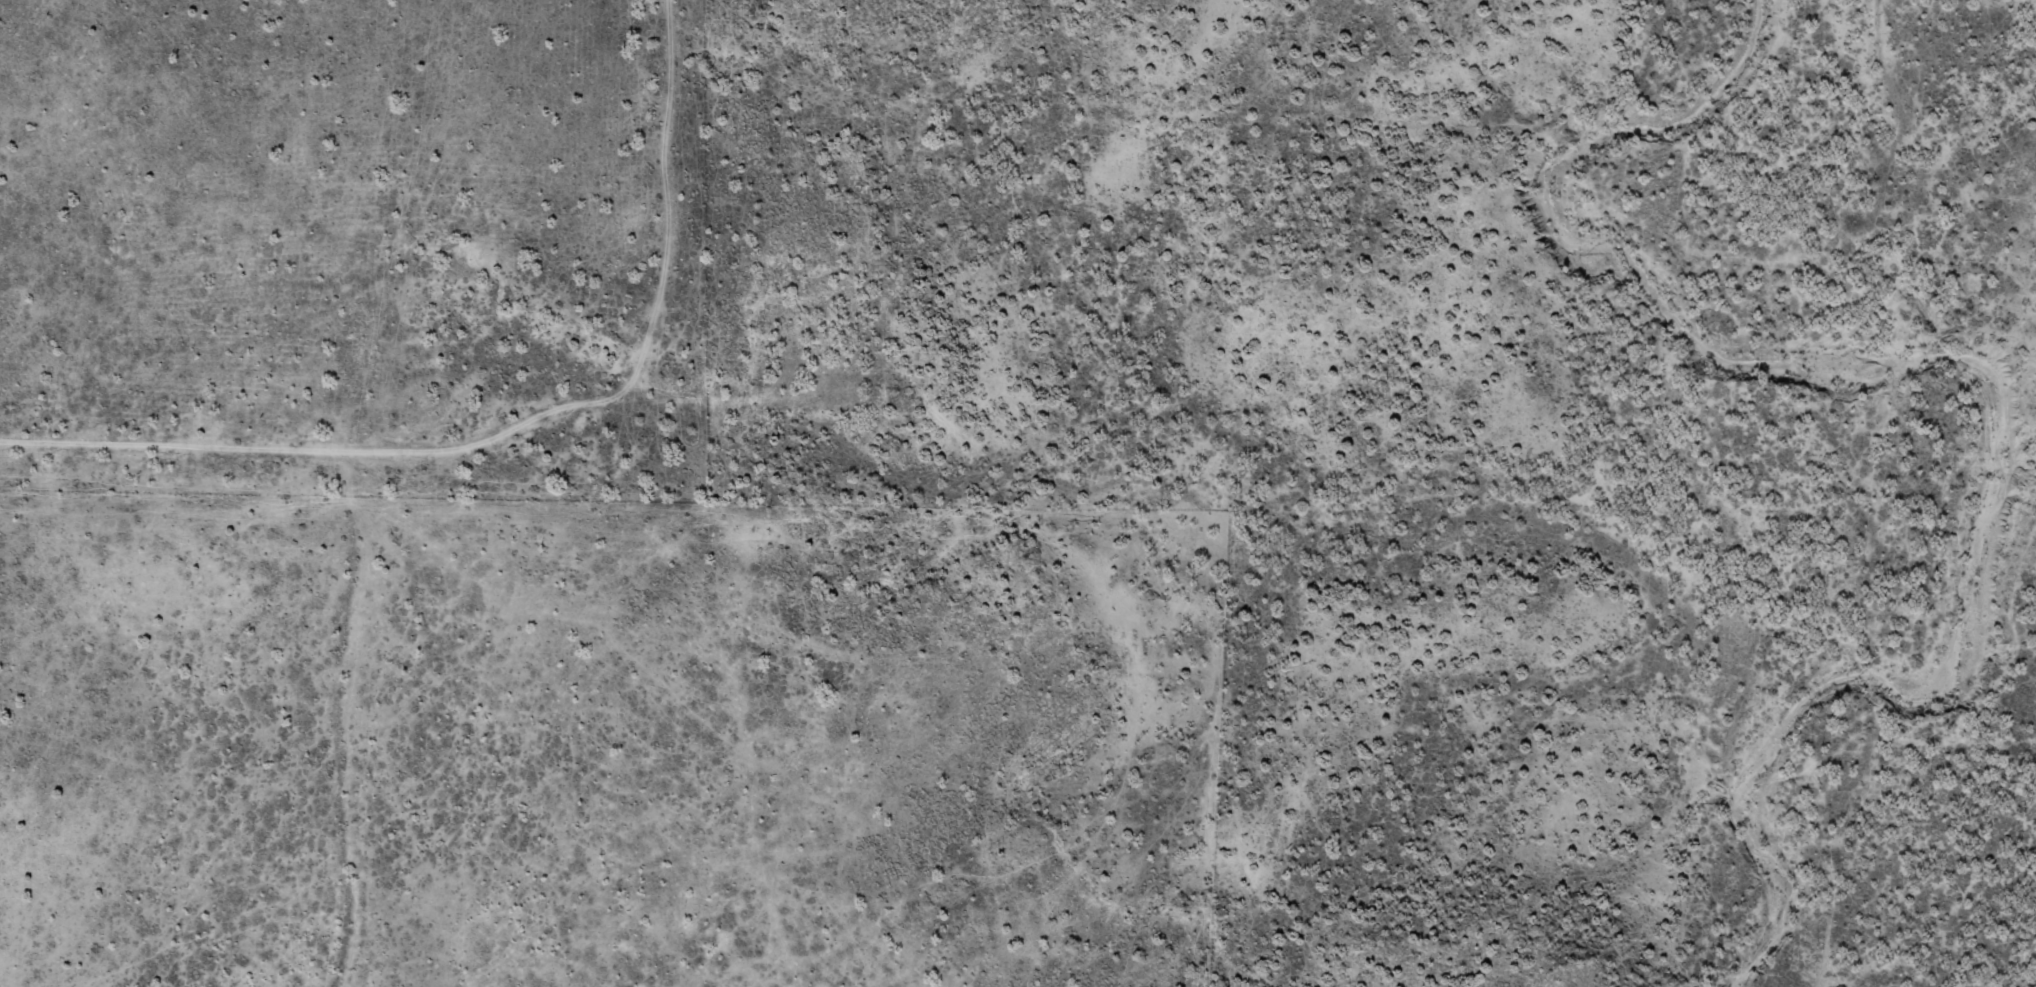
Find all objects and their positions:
road: (428, 429)

